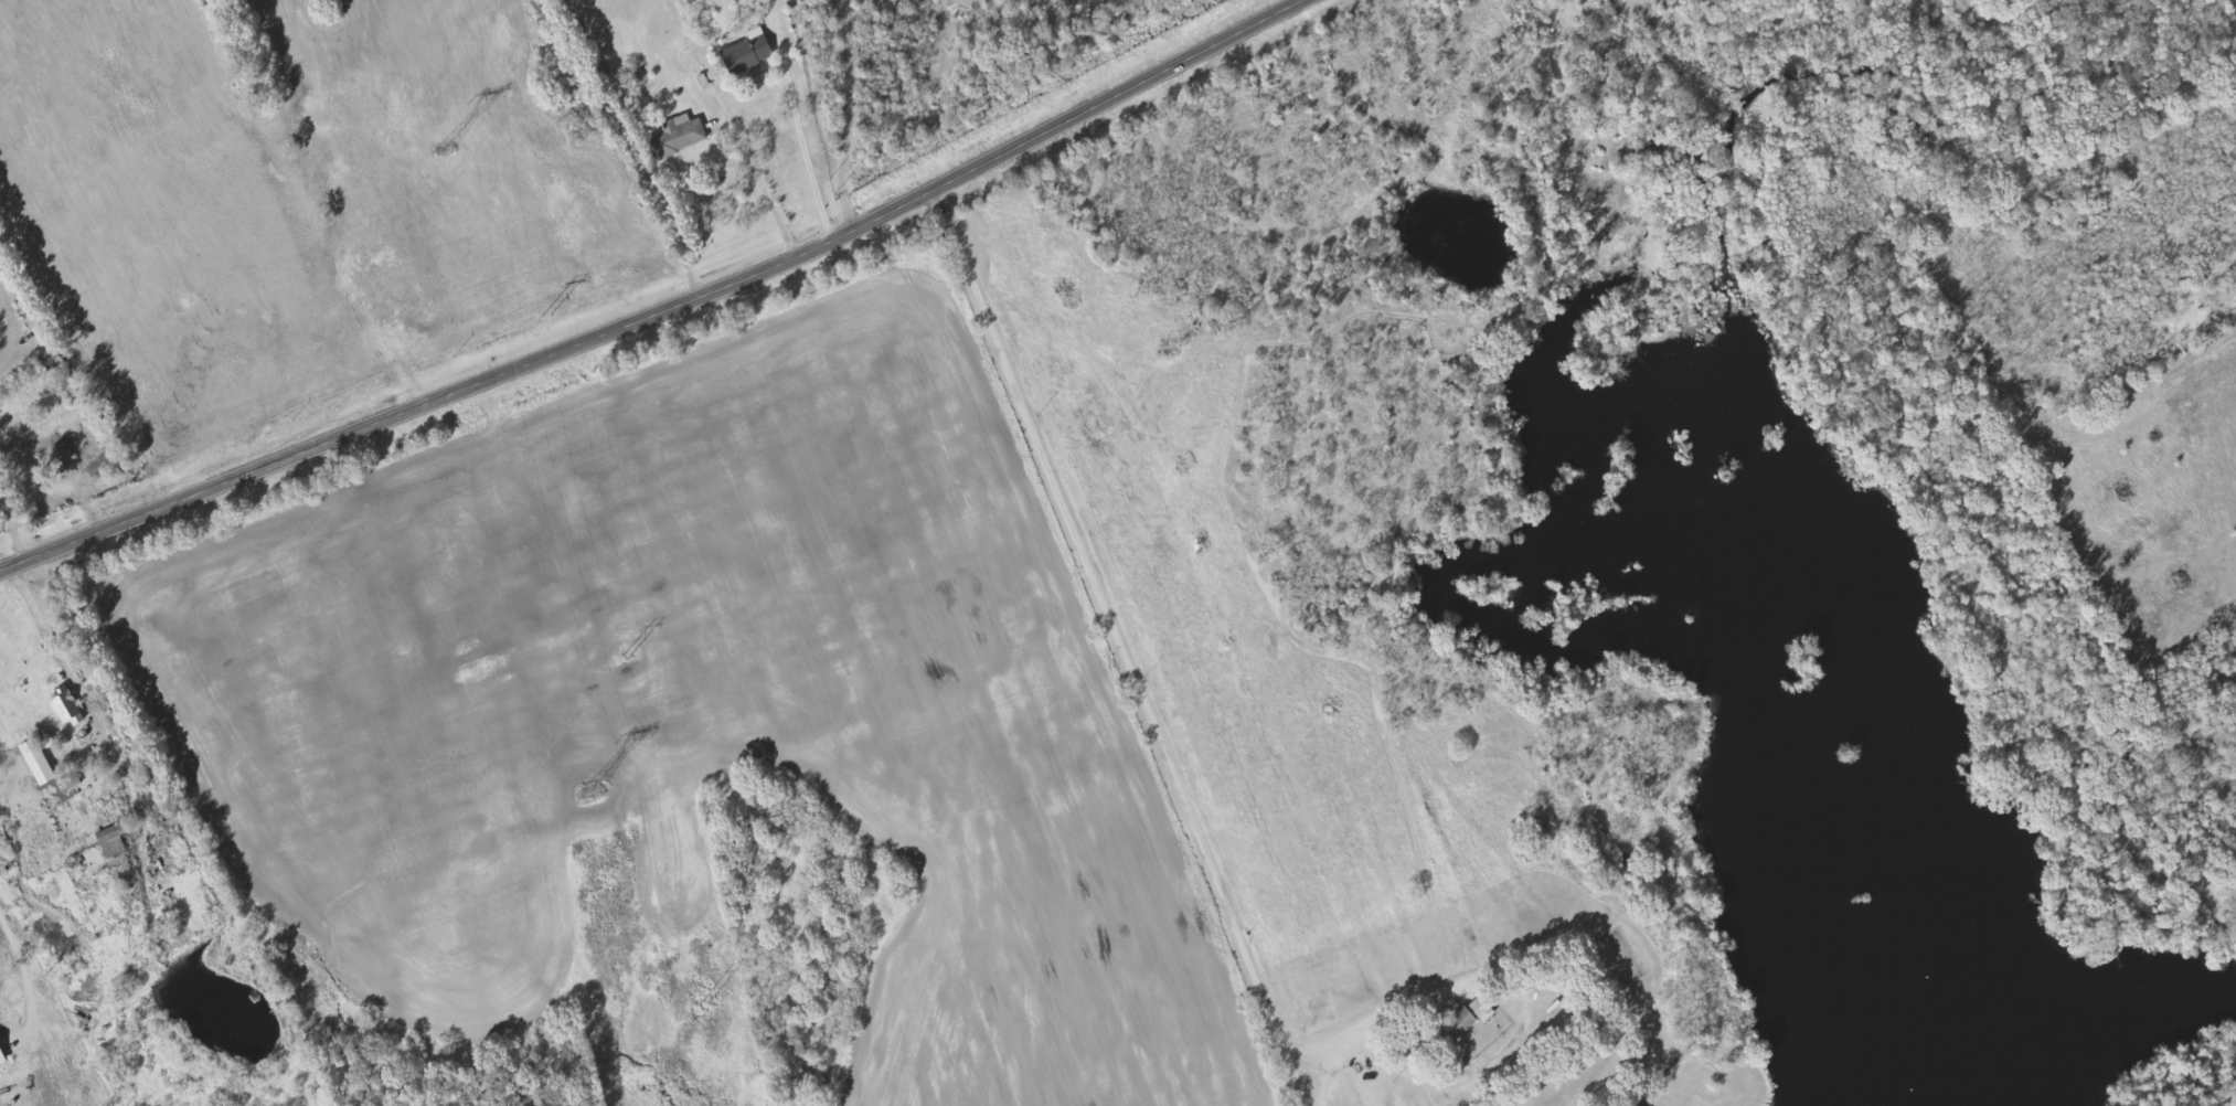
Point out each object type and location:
building: (744, 54)
building: (675, 138)
power tower: (444, 151)
road: (666, 313)
power tower: (545, 320)
road: (52, 445)
power tower: (625, 663)
building: (63, 708)
road: (1147, 715)
building: (33, 763)
power tower: (593, 790)
building: (100, 852)
power tower: (702, 1006)
building: (1466, 1019)
building: (1, 1062)

